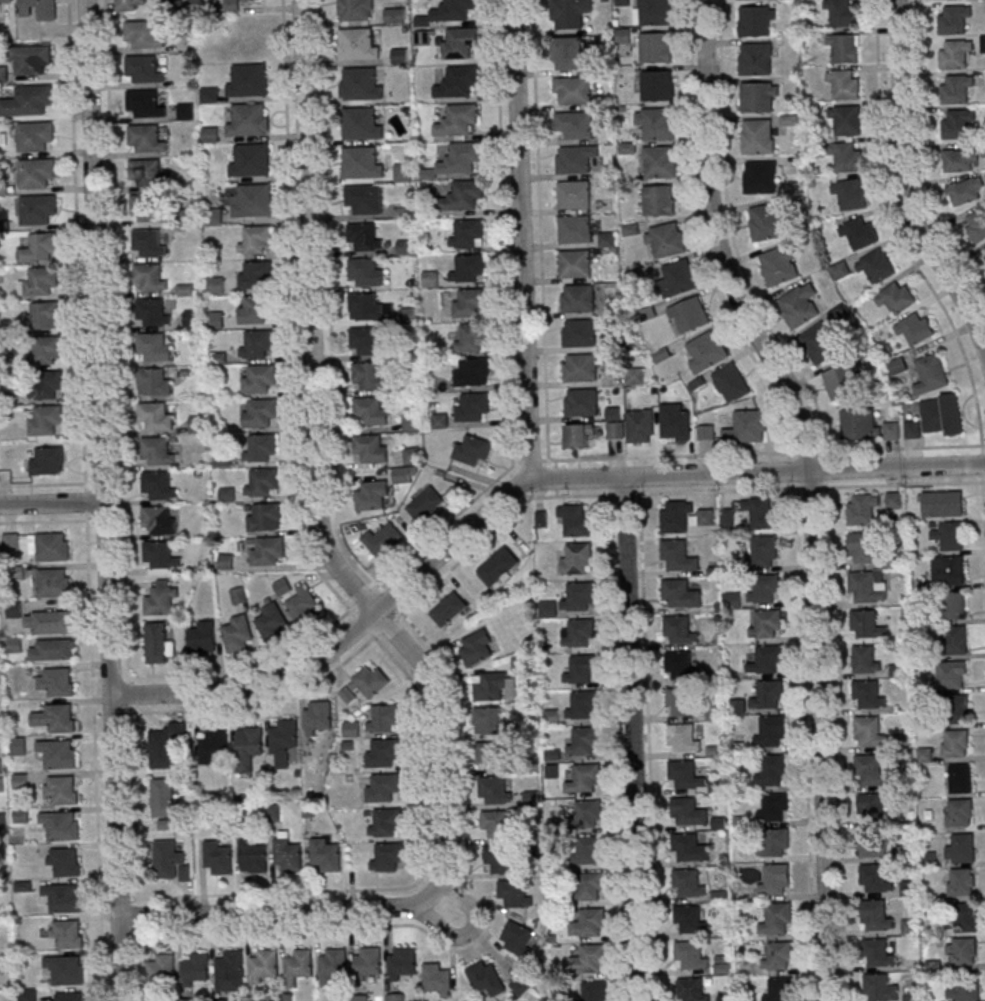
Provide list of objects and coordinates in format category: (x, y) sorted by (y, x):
building: (189, 0)
building: (5, 2)
building: (130, 4)
building: (234, 5)
building: (37, 9)
building: (455, 9)
building: (356, 10)
building: (841, 12)
building: (570, 13)
building: (654, 13)
building: (395, 16)
building: (954, 18)
building: (757, 22)
building: (142, 34)
building: (459, 43)
building: (983, 43)
building: (357, 45)
building: (656, 48)
building: (844, 48)
building: (955, 53)
building: (568, 54)
building: (400, 56)
building: (29, 59)
building: (756, 60)
building: (143, 70)
building: (3, 74)
building: (249, 80)
building: (459, 81)
building: (844, 84)
building: (360, 85)
building: (657, 86)
building: (957, 89)
building: (573, 92)
building: (209, 95)
building: (759, 97)
building: (28, 101)
building: (144, 105)
building: (249, 119)
building: (459, 119)
building: (847, 120)
building: (957, 123)
building: (656, 124)
building: (361, 125)
building: (574, 126)
building: (34, 136)
building: (758, 136)
building: (145, 139)
building: (846, 155)
building: (462, 157)
building: (251, 161)
building: (574, 161)
building: (961, 161)
building: (660, 163)
building: (361, 164)
building: (36, 173)
building: (146, 173)
building: (760, 177)
road: (904, 184)
building: (965, 193)
building: (465, 194)
building: (573, 194)
building: (850, 194)
building: (364, 200)
building: (658, 201)
building: (252, 202)
building: (39, 207)
building: (145, 207)
building: (767, 223)
building: (977, 224)
building: (574, 230)
road: (502, 231)
building: (859, 232)
building: (466, 233)
road: (539, 233)
building: (363, 238)
building: (254, 239)
road: (521, 239)
road: (75, 241)
building: (666, 241)
building: (148, 243)
building: (40, 249)
building: (984, 249)
building: (575, 264)
building: (779, 266)
building: (876, 266)
building: (467, 268)
building: (365, 273)
building: (255, 275)
building: (150, 277)
building: (678, 278)
building: (40, 283)
building: (216, 286)
building: (896, 297)
building: (577, 299)
building: (470, 303)
building: (799, 306)
building: (368, 308)
building: (254, 309)
building: (152, 313)
building: (689, 315)
building: (44, 317)
building: (193, 320)
road: (293, 328)
building: (915, 328)
building: (579, 333)
building: (470, 338)
building: (366, 342)
building: (255, 344)
building: (820, 344)
building: (153, 348)
building: (45, 350)
building: (706, 350)
road: (116, 356)
building: (580, 368)
building: (472, 373)
building: (932, 373)
building: (369, 377)
building: (259, 379)
building: (154, 383)
building: (731, 383)
building: (841, 383)
building: (45, 386)
building: (581, 403)
building: (472, 407)
building: (370, 412)
building: (259, 413)
building: (942, 414)
building: (155, 417)
building: (44, 420)
building: (676, 422)
building: (412, 423)
building: (859, 424)
building: (641, 426)
building: (747, 427)
building: (616, 429)
building: (578, 434)
road: (982, 445)
building: (259, 448)
building: (371, 449)
building: (157, 450)
building: (15, 451)
building: (473, 451)
building: (412, 456)
road: (670, 456)
building: (48, 461)
road: (529, 461)
road: (515, 462)
building: (403, 476)
building: (261, 483)
building: (159, 485)
road: (514, 487)
road: (812, 489)
building: (372, 497)
building: (894, 499)
road: (102, 500)
road: (84, 501)
road: (51, 503)
road: (982, 503)
building: (942, 504)
building: (426, 505)
building: (862, 509)
building: (761, 514)
building: (684, 516)
building: (263, 517)
building: (575, 519)
building: (158, 520)
building: (950, 536)
building: (383, 540)
building: (9, 541)
building: (51, 547)
building: (864, 548)
building: (267, 551)
building: (765, 552)
building: (160, 555)
building: (677, 556)
building: (577, 558)
building: (226, 562)
building: (498, 566)
building: (949, 571)
building: (52, 583)
building: (868, 587)
building: (765, 589)
building: (680, 594)
building: (239, 595)
building: (578, 598)
building: (161, 599)
building: (955, 605)
building: (303, 607)
road: (371, 608)
building: (449, 608)
building: (13, 609)
building: (52, 623)
building: (271, 623)
building: (766, 624)
building: (867, 624)
building: (679, 630)
building: (578, 633)
building: (238, 634)
building: (202, 637)
building: (956, 639)
building: (158, 643)
building: (13, 645)
building: (477, 647)
building: (54, 650)
building: (866, 659)
building: (767, 661)
building: (680, 666)
building: (580, 670)
building: (953, 674)
building: (55, 682)
building: (365, 685)
building: (495, 687)
building: (868, 694)
building: (769, 696)
building: (681, 701)
building: (581, 705)
building: (955, 710)
building: (317, 717)
building: (59, 718)
building: (385, 719)
building: (490, 720)
building: (351, 730)
building: (772, 732)
building: (869, 732)
building: (283, 737)
road: (633, 738)
building: (682, 738)
building: (583, 742)
building: (249, 744)
building: (955, 744)
building: (17, 746)
building: (165, 746)
building: (212, 746)
building: (382, 753)
building: (56, 754)
building: (925, 754)
building: (491, 755)
road: (94, 760)
building: (0, 769)
building: (871, 769)
building: (772, 770)
building: (683, 774)
building: (961, 778)
building: (584, 779)
building: (19, 782)
building: (0, 785)
building: (718, 785)
building: (382, 789)
building: (61, 790)
building: (493, 790)
building: (163, 797)
building: (871, 804)
building: (774, 807)
building: (687, 812)
building: (959, 813)
building: (584, 815)
building: (19, 816)
building: (2, 821)
building: (384, 824)
building: (496, 825)
building: (59, 826)
building: (774, 842)
building: (874, 844)
building: (689, 848)
building: (962, 848)
building: (586, 851)
building: (287, 855)
building: (252, 856)
building: (324, 856)
road: (133, 857)
building: (386, 857)
building: (217, 858)
building: (169, 860)
building: (503, 860)
building: (64, 862)
building: (777, 879)
building: (875, 879)
building: (687, 883)
building: (961, 883)
building: (588, 887)
building: (514, 894)
building: (64, 899)
building: (876, 917)
building: (967, 917)
building: (688, 919)
building: (777, 920)
building: (587, 923)
road: (469, 929)
building: (66, 934)
building: (518, 940)
building: (963, 952)
building: (878, 954)
building: (690, 956)
building: (779, 956)
building: (589, 959)
building: (3, 963)
building: (400, 963)
building: (331, 966)
building: (365, 966)
building: (297, 967)
building: (262, 968)
building: (64, 970)
building: (194, 970)
building: (159, 972)
building: (228, 972)
building: (486, 979)
building: (437, 980)
building: (520, 986)
building: (881, 989)
building: (690, 990)
building: (780, 990)
building: (969, 990)
building: (593, 991)
building: (26, 995)
building: (67, 997)
building: (725, 998)
building: (187, 1000)

